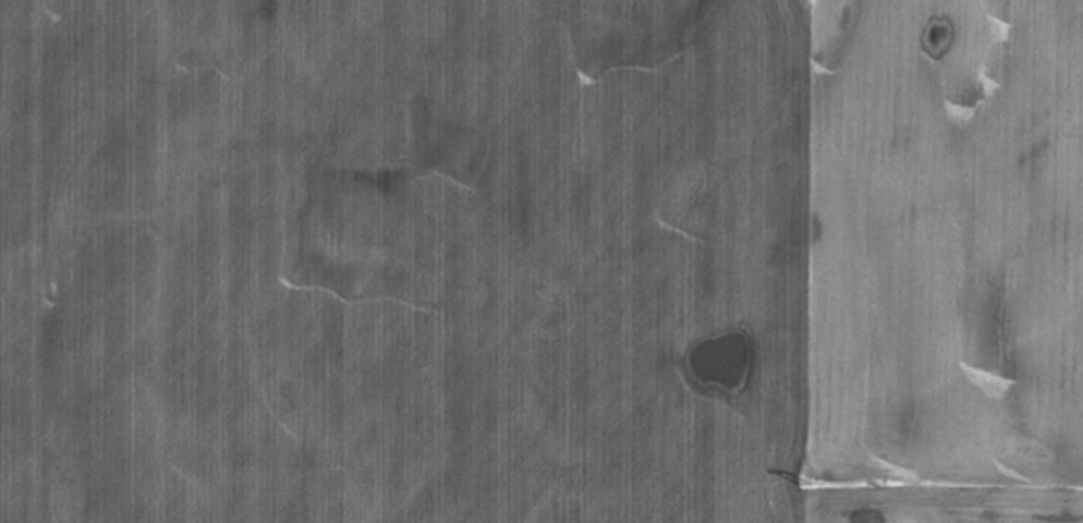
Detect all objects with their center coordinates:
power tower: (806, 482)

